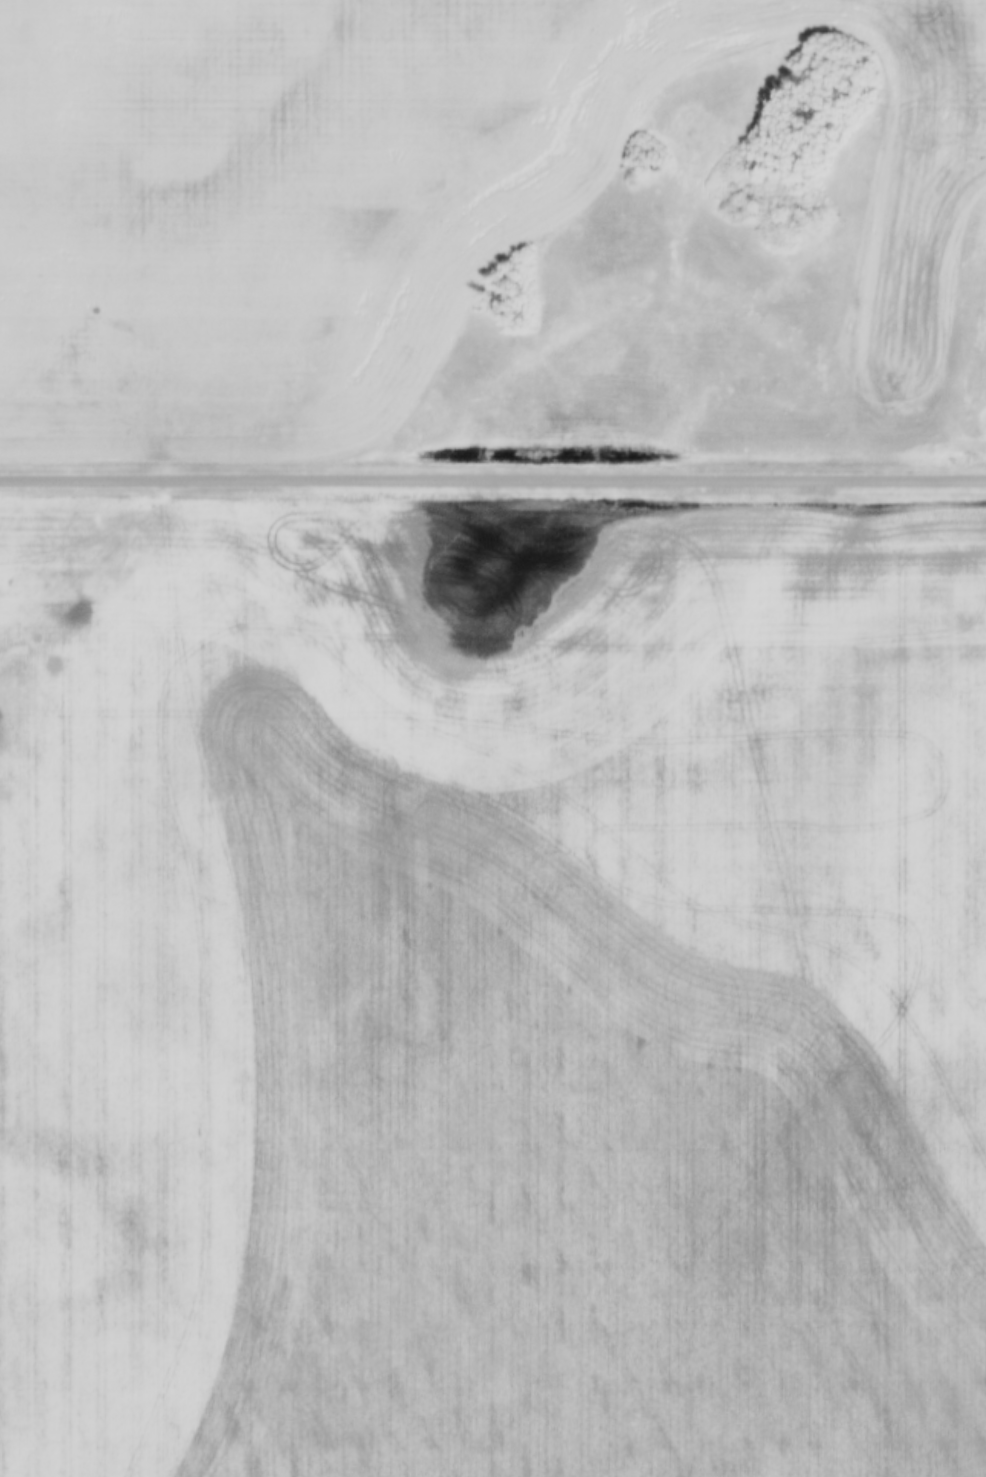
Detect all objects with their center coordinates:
road: (492, 477)

